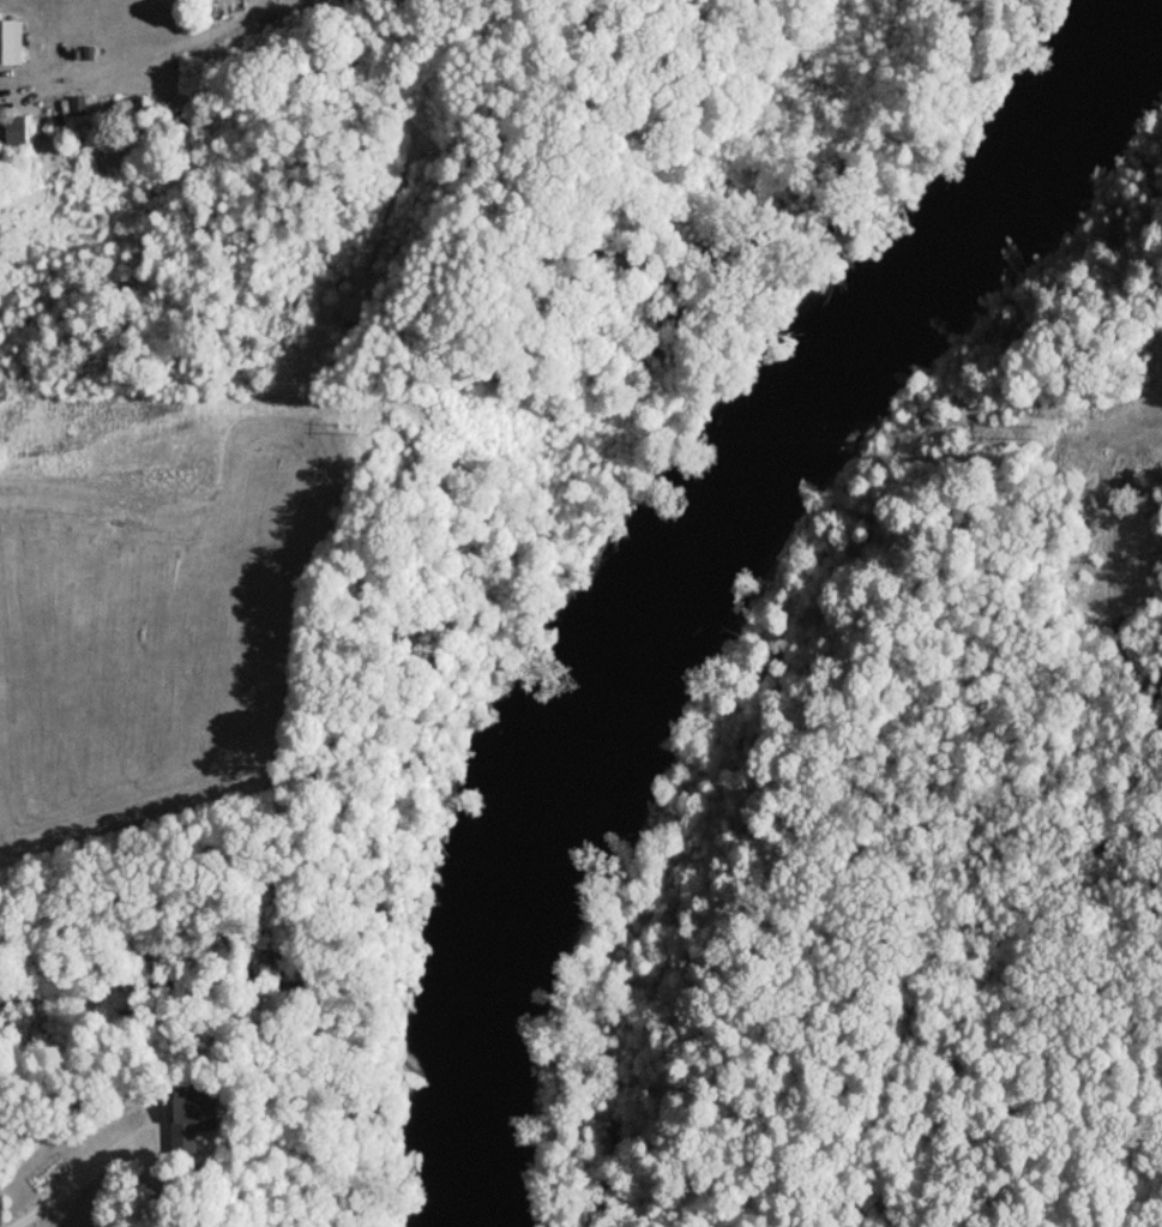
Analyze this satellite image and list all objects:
building: (8, 44)
building: (12, 133)
river: (697, 563)
building: (180, 1127)
road: (66, 1187)

